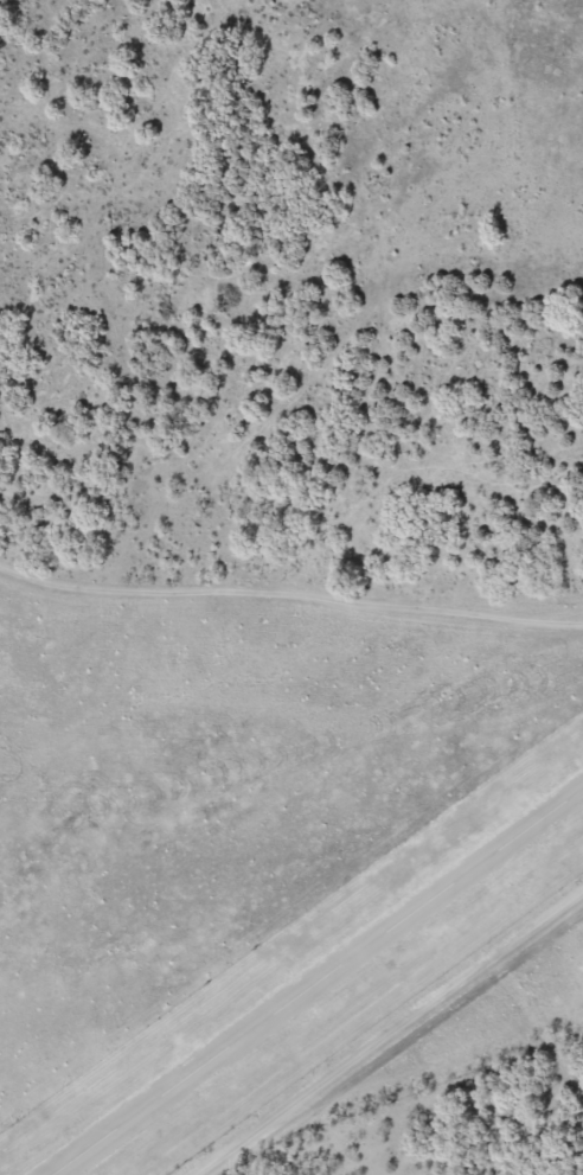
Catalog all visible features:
airport runway: (325, 986)

